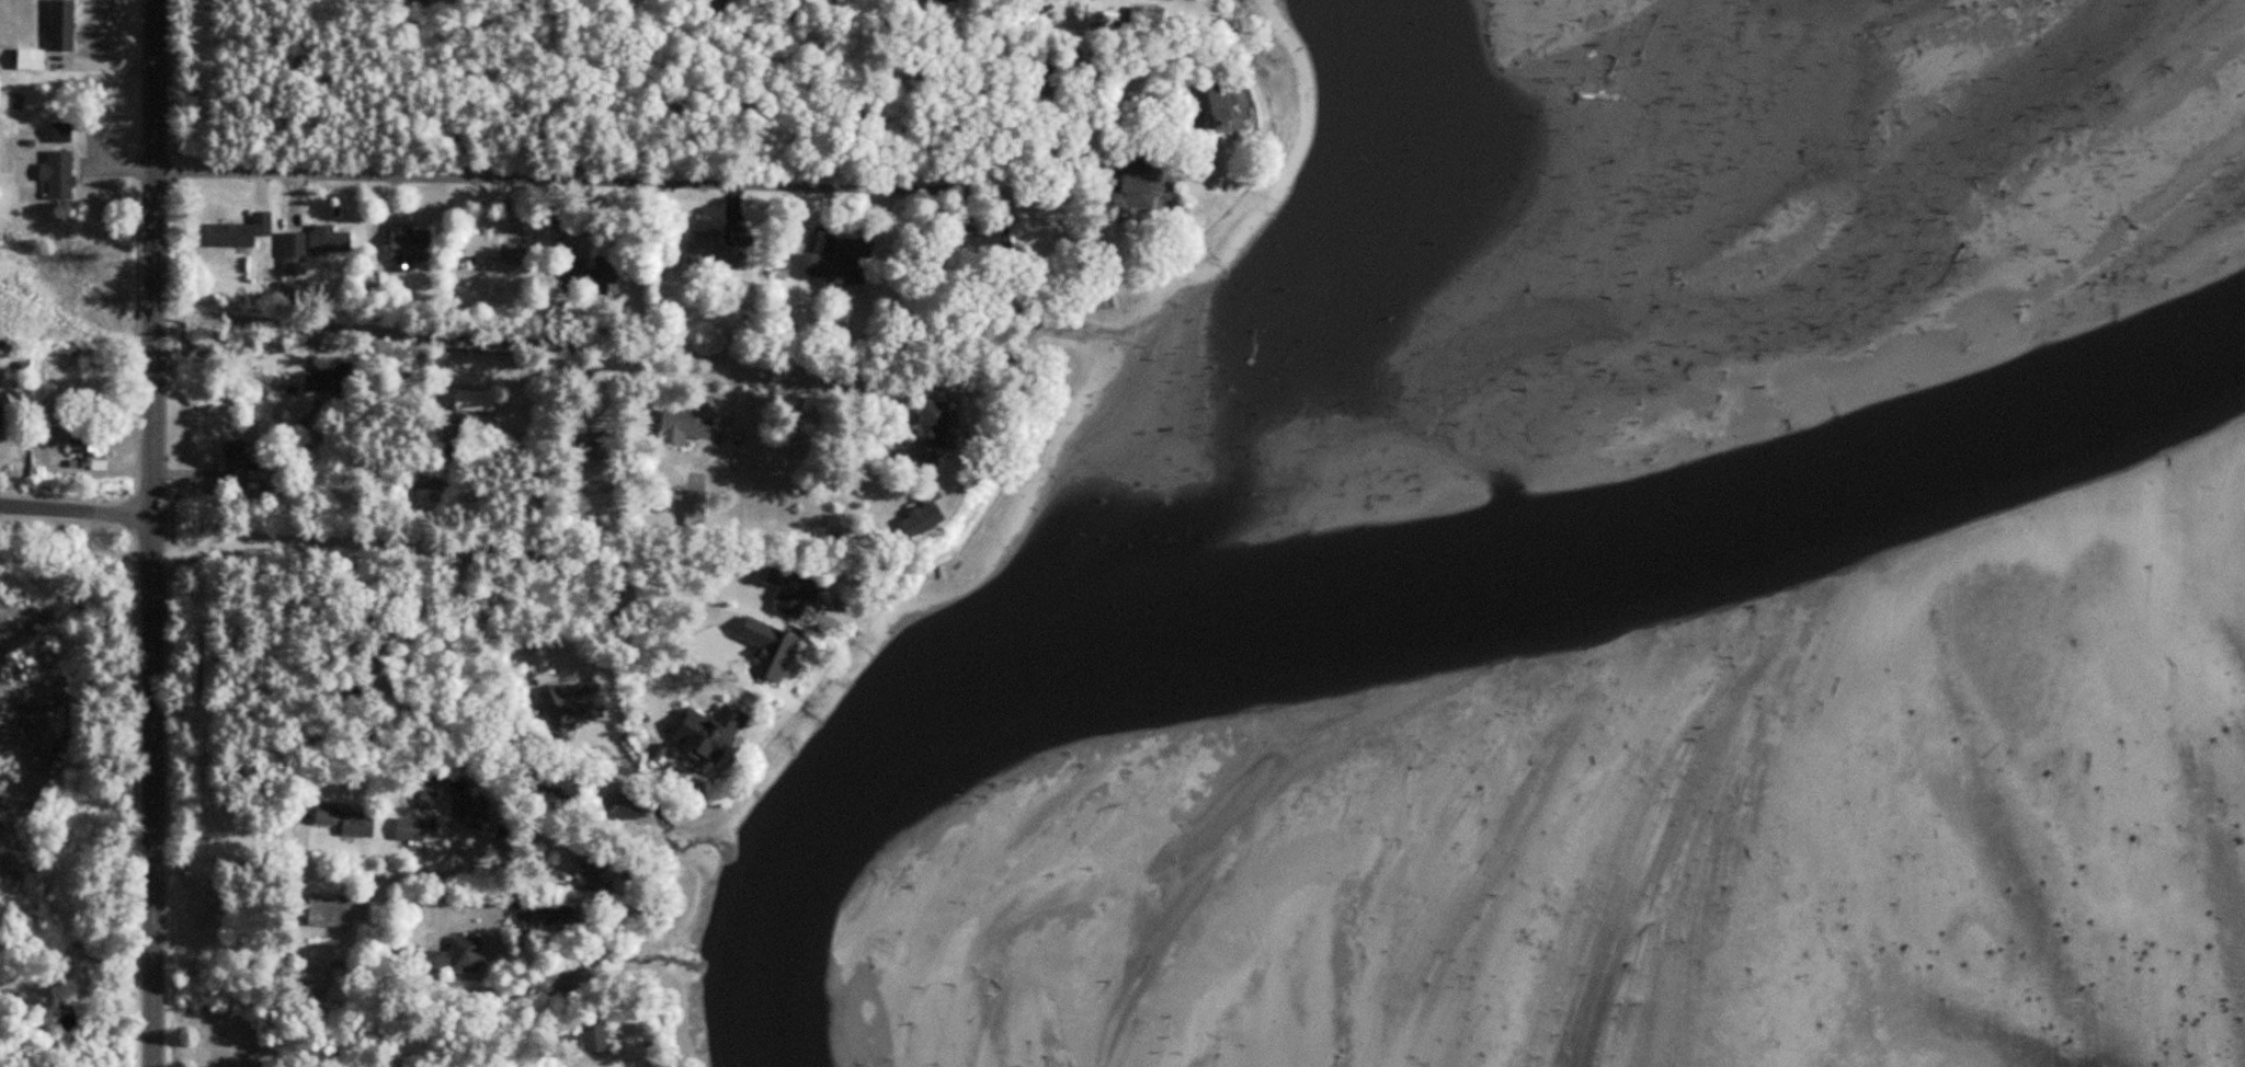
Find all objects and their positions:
building: (950, 0)
building: (1226, 106)
road: (1093, 121)
road: (603, 182)
building: (1142, 182)
building: (244, 231)
building: (333, 241)
building: (487, 244)
building: (412, 246)
building: (714, 252)
building: (297, 253)
building: (520, 253)
building: (852, 257)
building: (595, 271)
road: (481, 340)
building: (332, 379)
road: (851, 398)
building: (479, 401)
building: (2, 417)
building: (691, 424)
building: (939, 431)
building: (87, 445)
building: (237, 460)
building: (698, 506)
road: (78, 510)
building: (930, 519)
road: (156, 532)
road: (398, 540)
road: (700, 552)
road: (485, 611)
river: (1400, 611)
road: (616, 627)
building: (718, 733)
building: (434, 800)
building: (476, 806)
building: (352, 822)
building: (415, 829)
road: (326, 871)
building: (597, 871)
building: (333, 910)
building: (563, 916)
building: (469, 955)
building: (430, 961)
road: (76, 967)
building: (343, 985)
building: (600, 1035)

